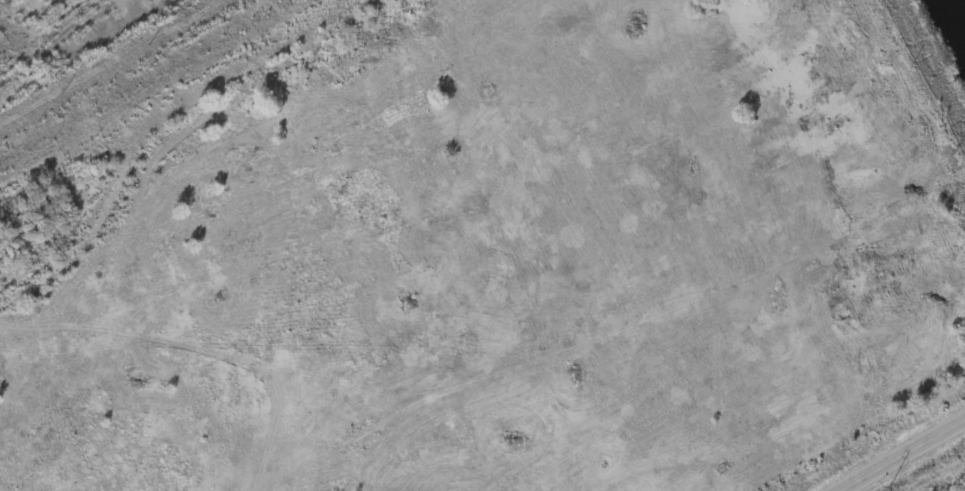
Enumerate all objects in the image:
road: (931, 70)
road: (347, 448)
road: (900, 454)

